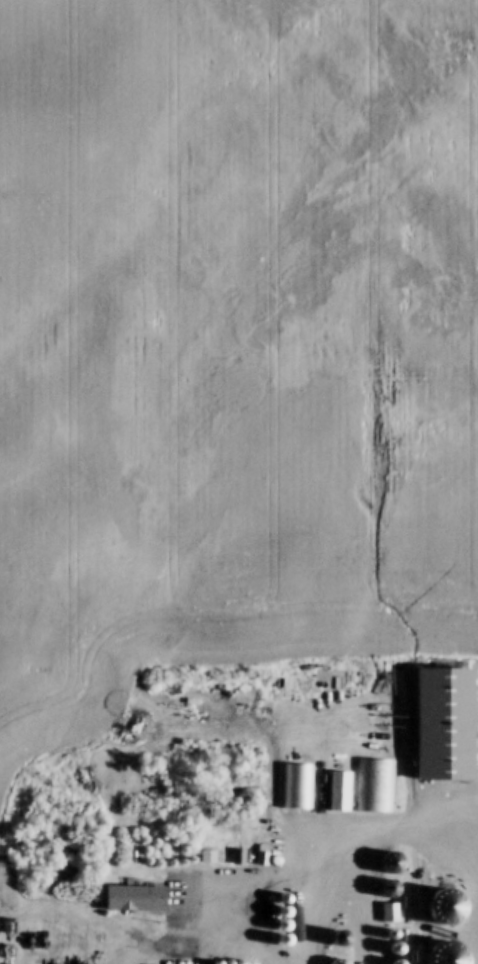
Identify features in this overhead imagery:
building: (448, 724)
building: (376, 785)
building: (299, 786)
building: (343, 792)
road: (288, 867)
building: (138, 898)
building: (453, 905)
building: (392, 912)
building: (340, 960)

